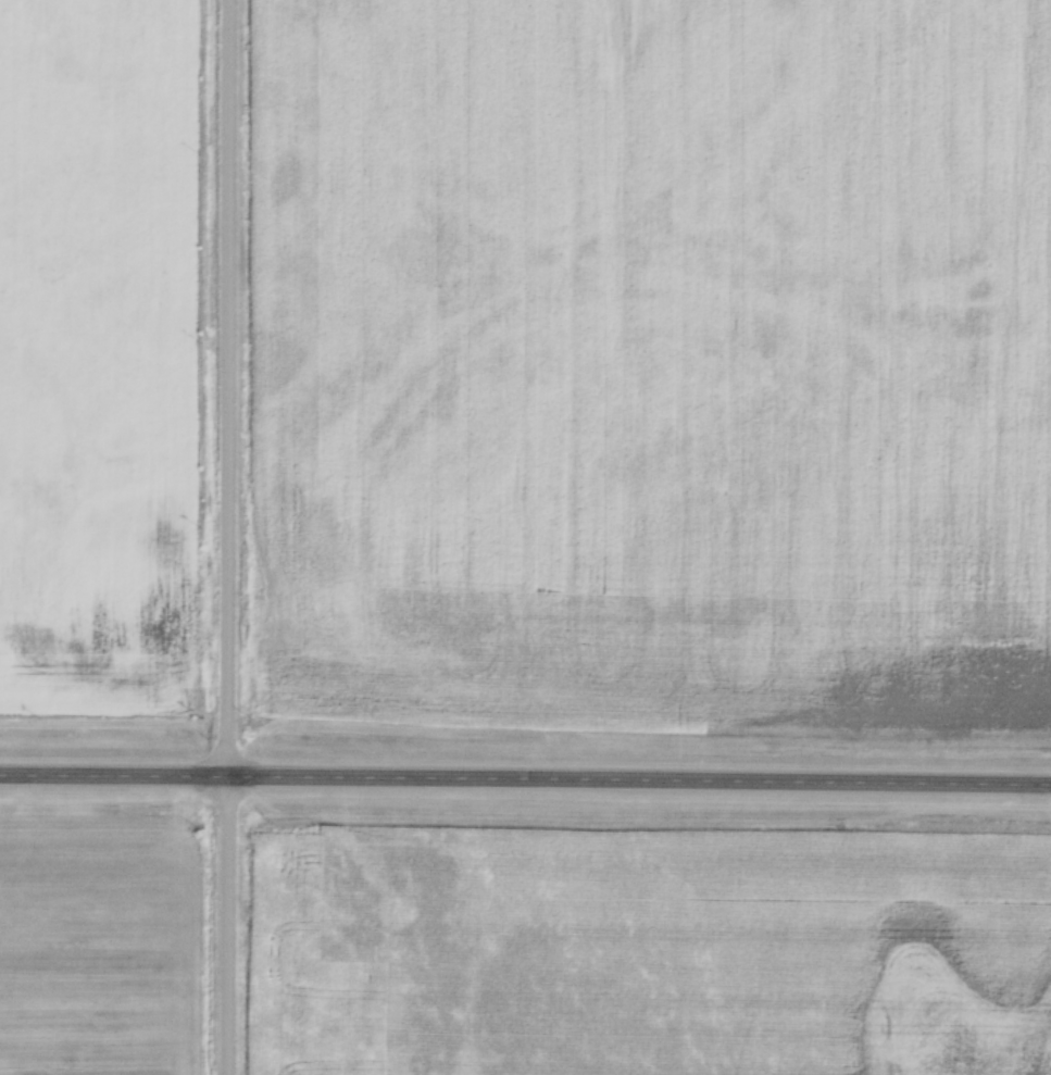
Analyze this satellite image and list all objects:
road: (225, 537)
road: (525, 780)

